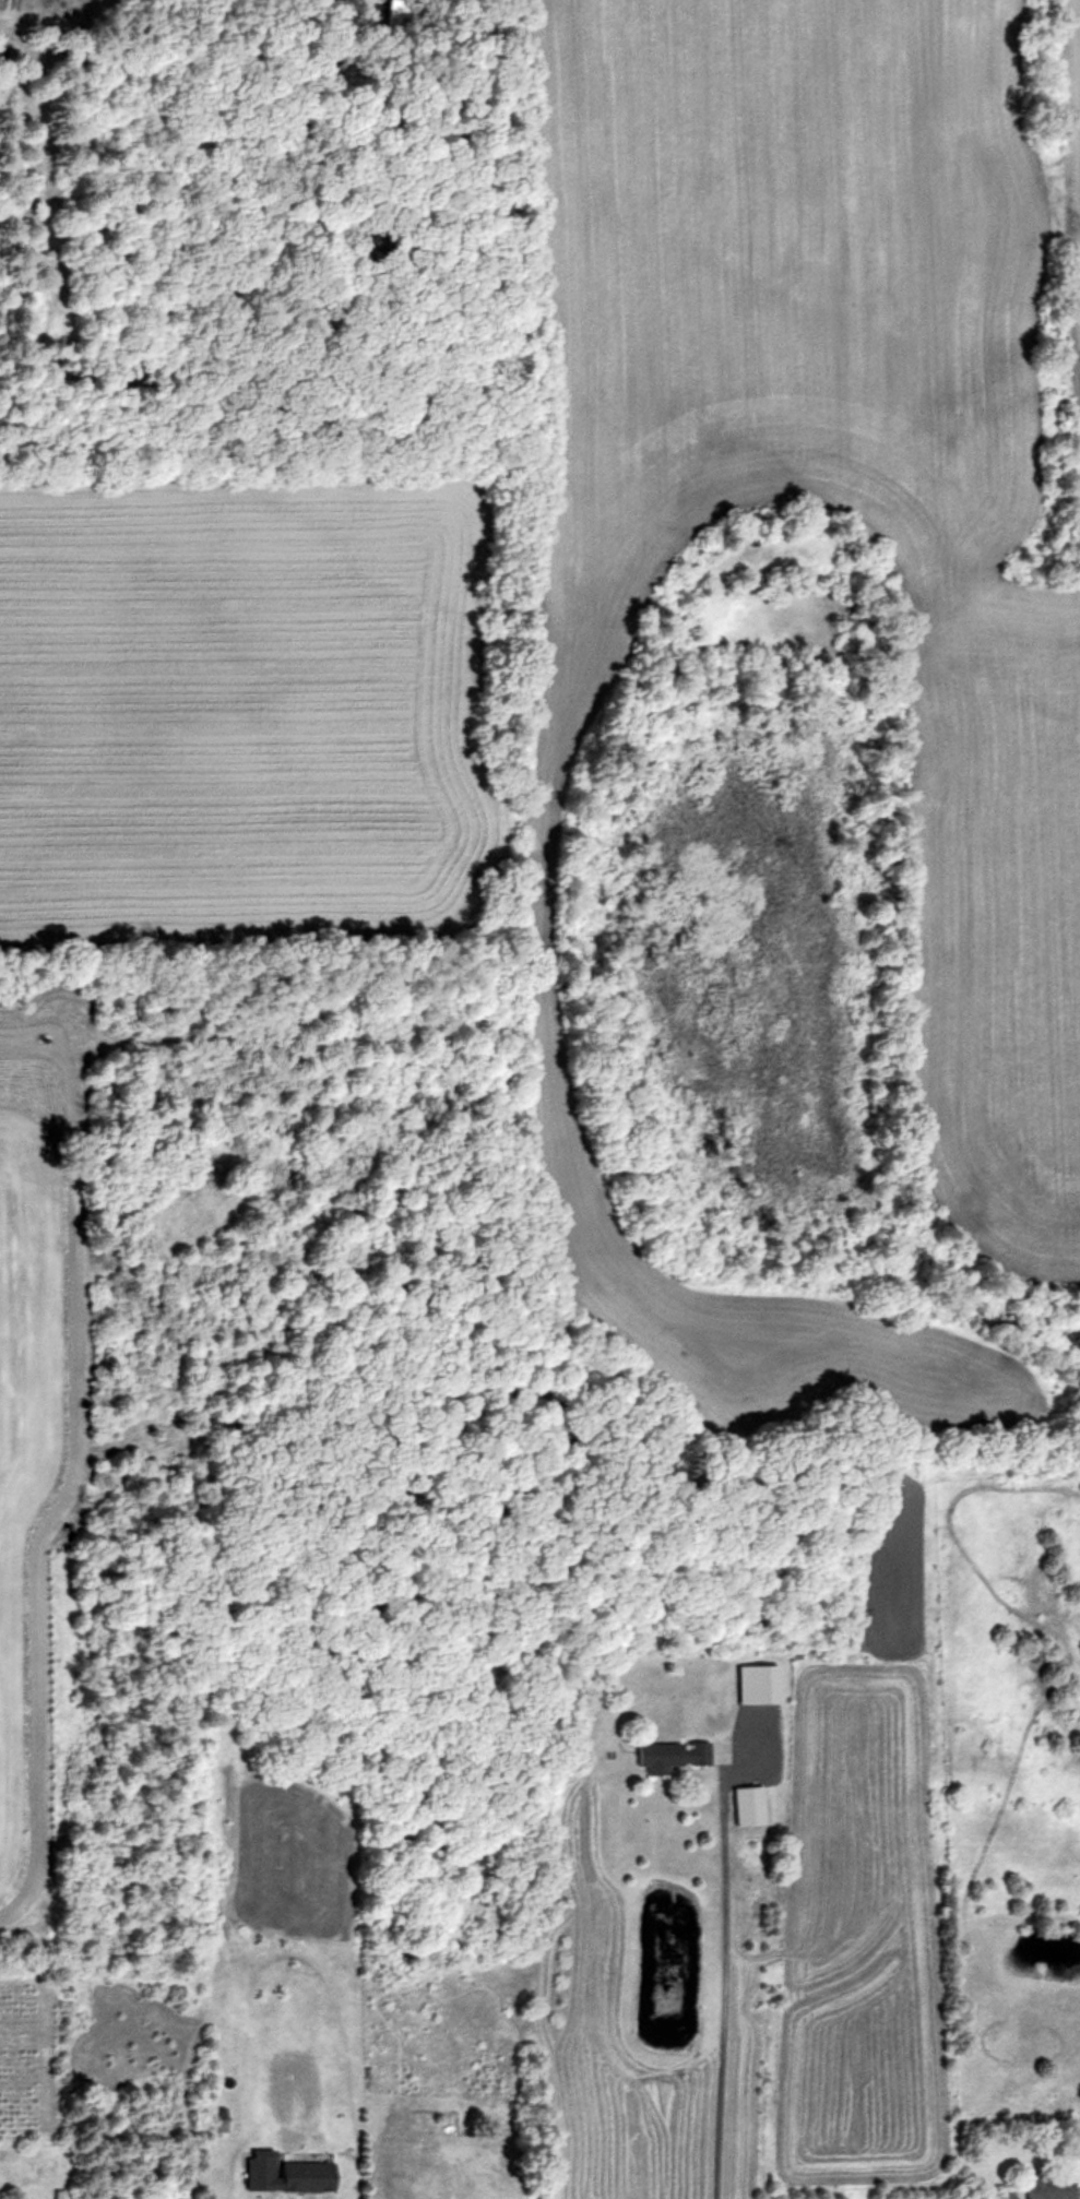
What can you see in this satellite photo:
building: (395, 13)
road: (328, 54)
building: (314, 75)
building: (755, 1684)
building: (668, 1755)
building: (746, 1805)
road: (720, 1989)
building: (284, 2173)
building: (1048, 2186)
building: (1006, 2196)

